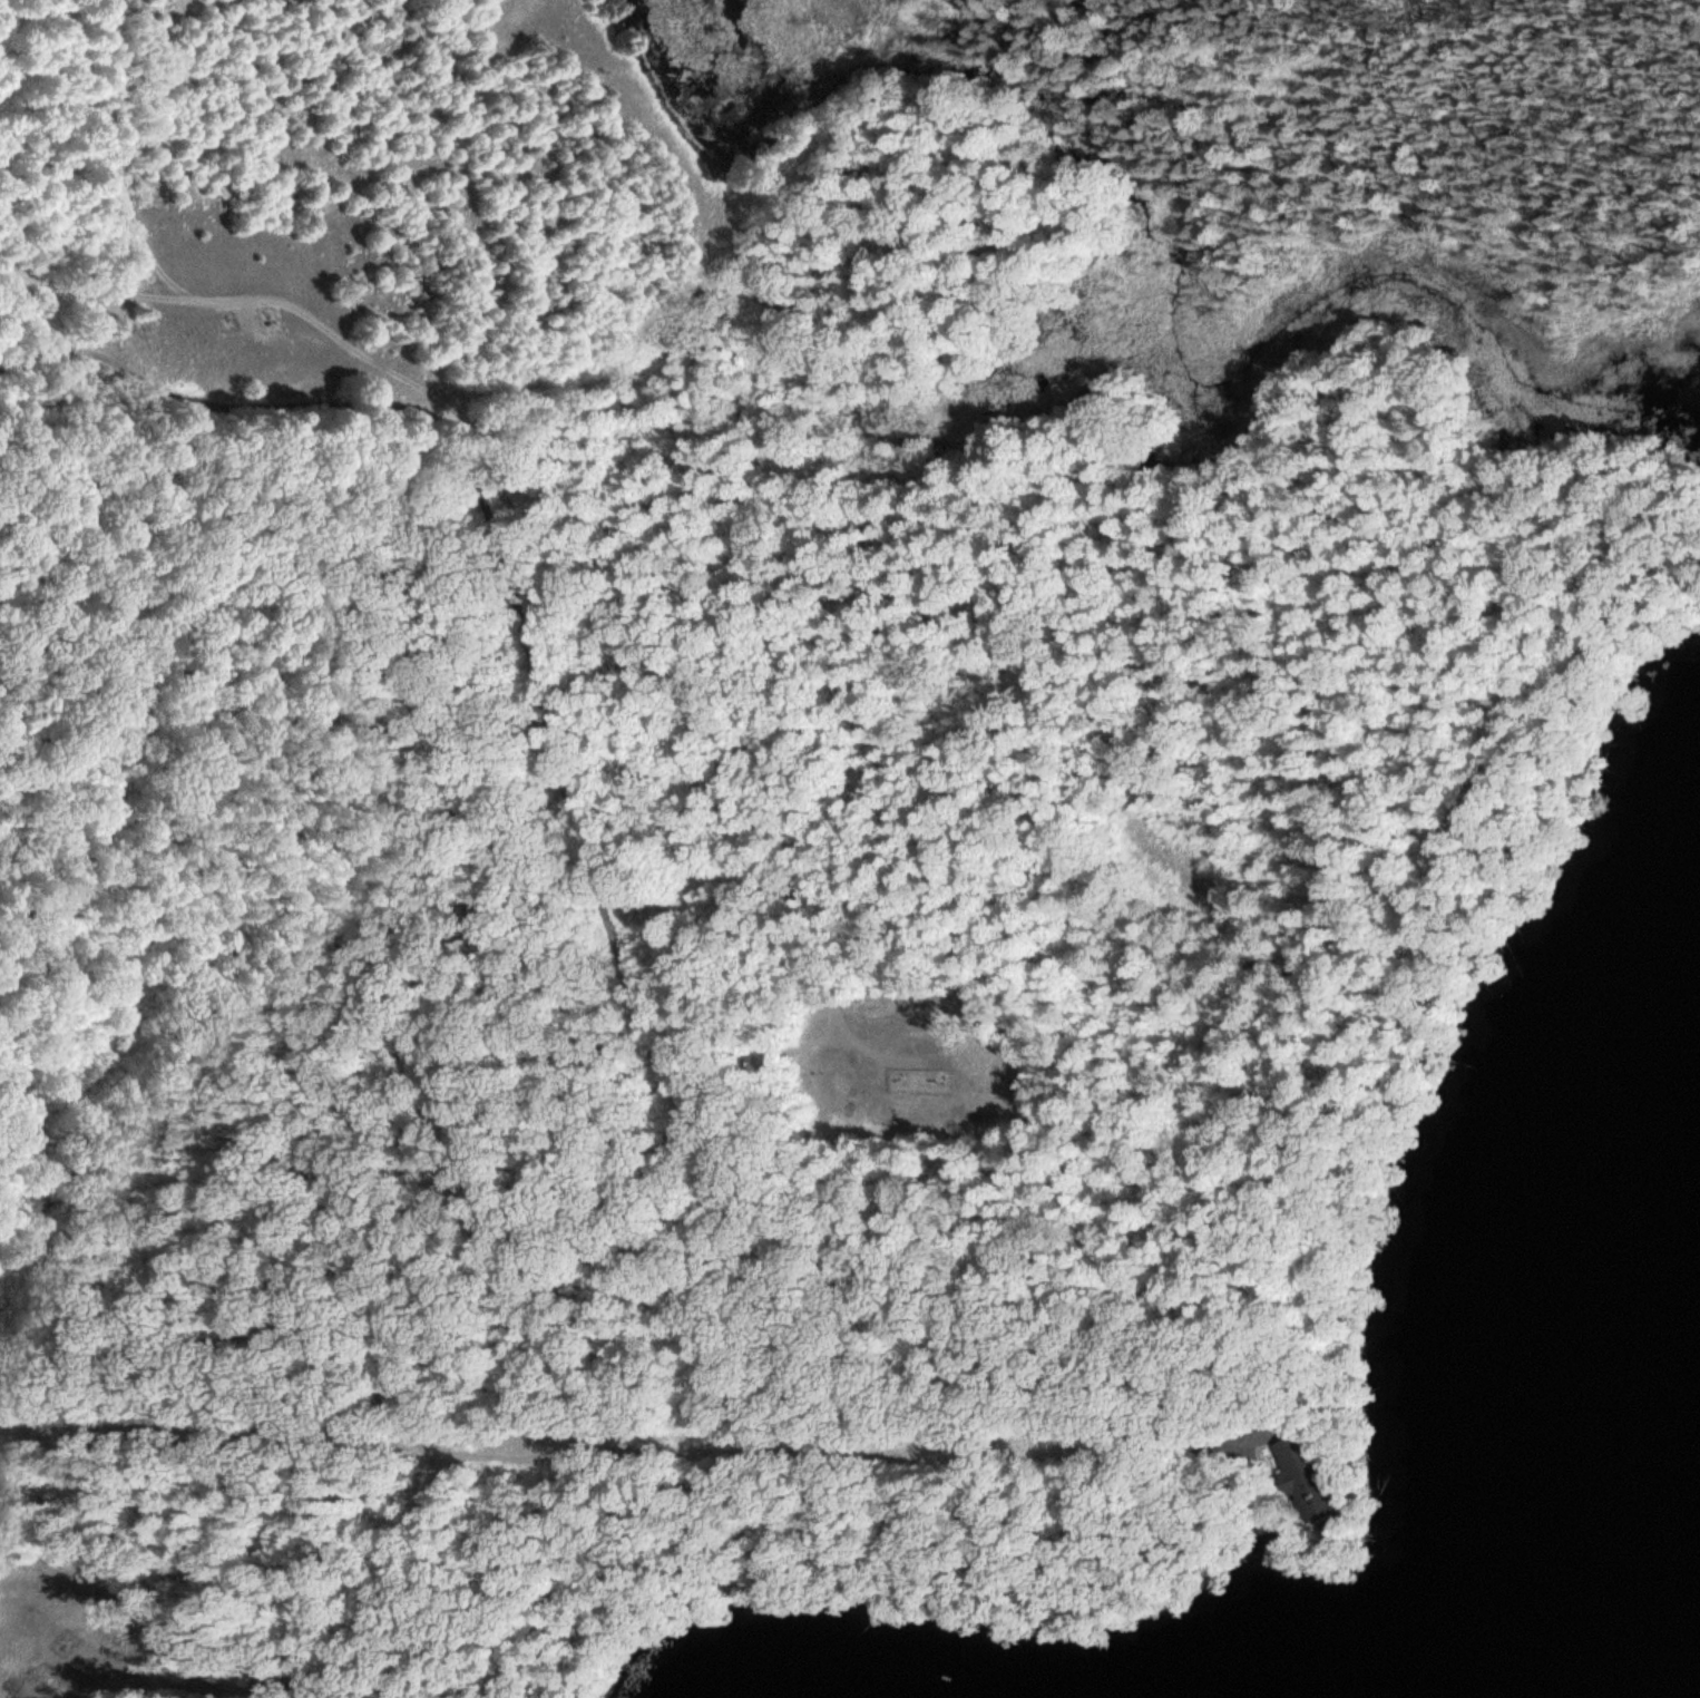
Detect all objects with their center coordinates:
road: (585, 917)
building: (1311, 1475)

